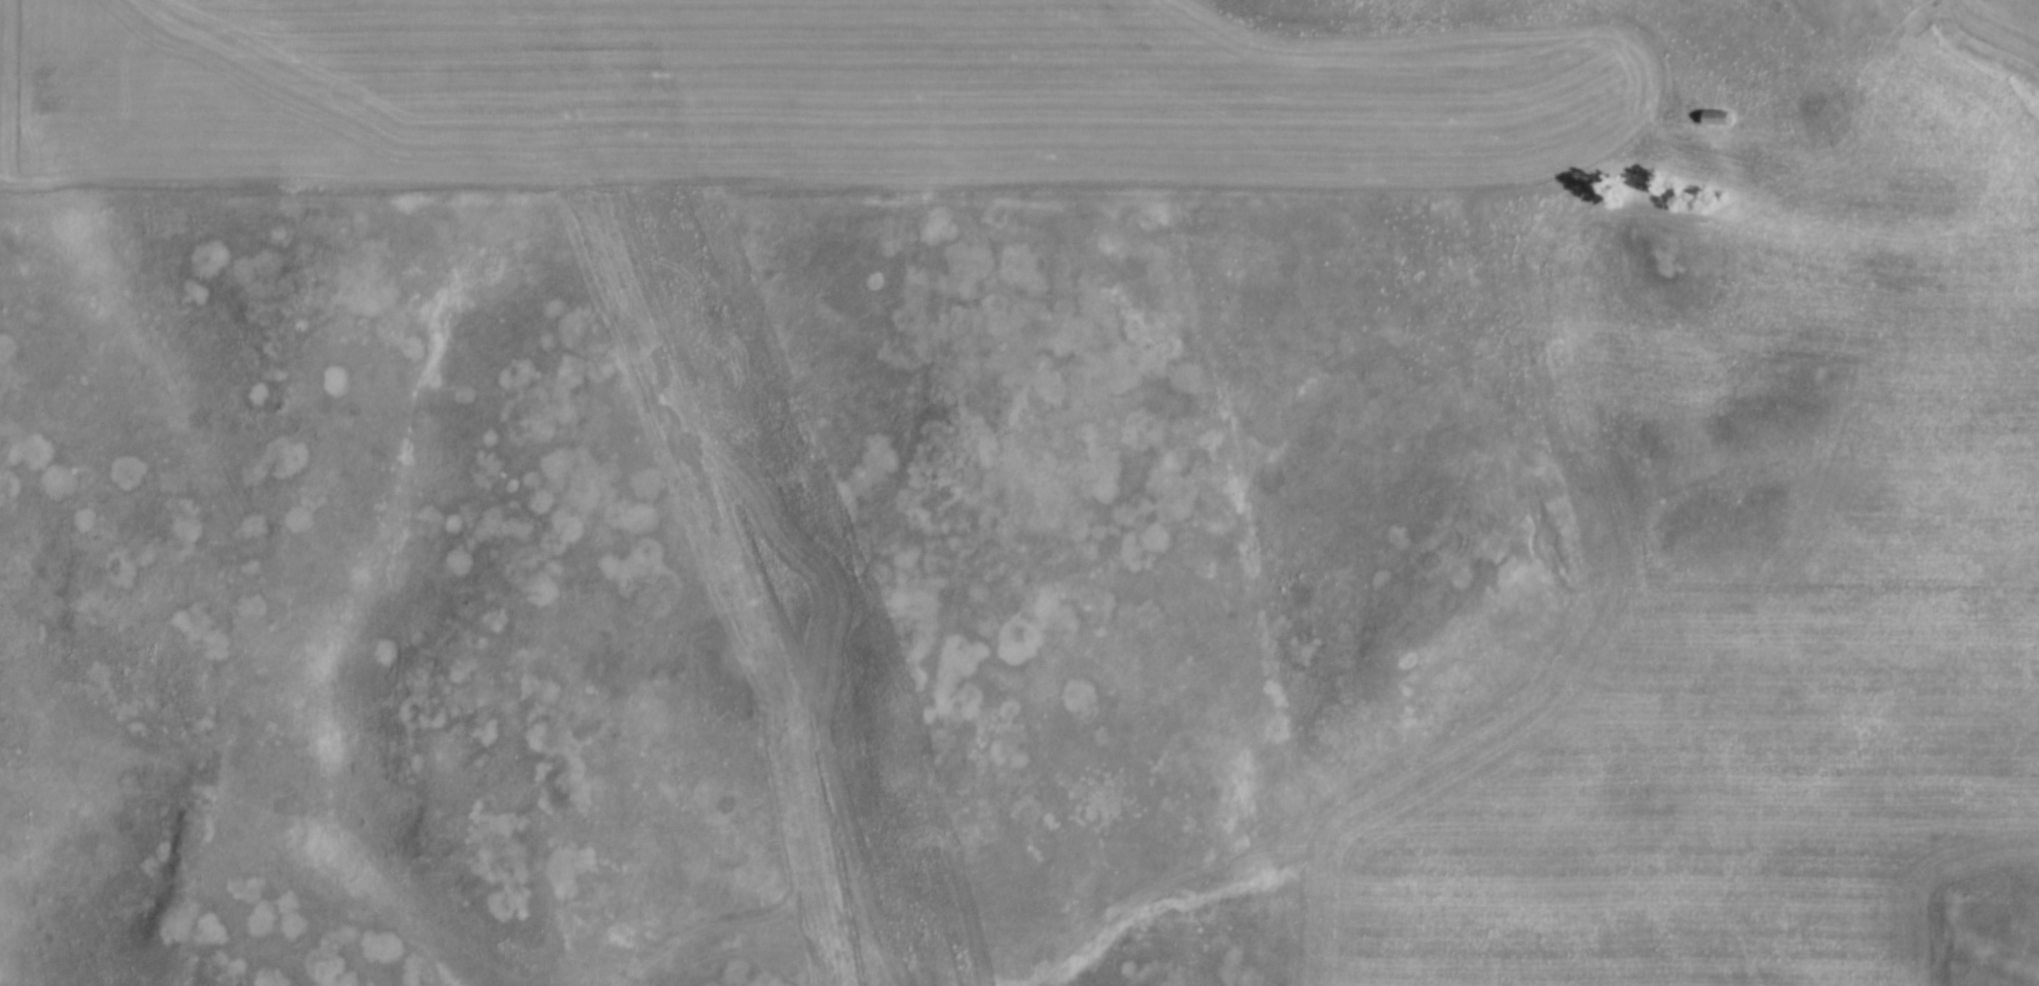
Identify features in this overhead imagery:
building: (1711, 117)

